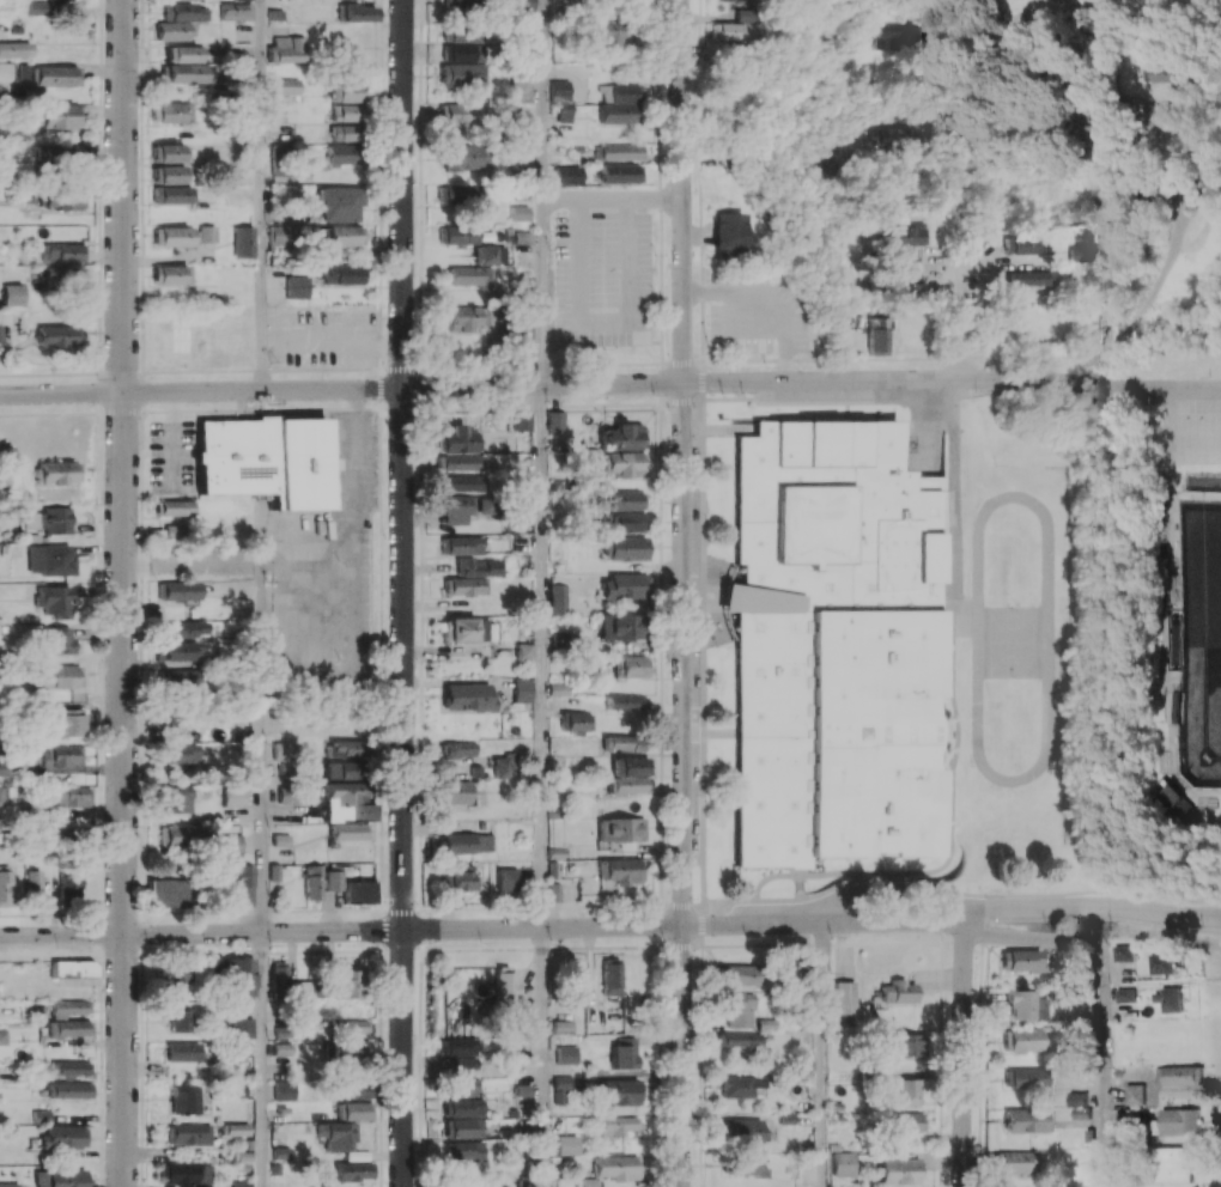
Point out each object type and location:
building: (183, 0)
building: (243, 0)
building: (743, 0)
building: (460, 1)
building: (47, 5)
building: (516, 5)
building: (236, 11)
building: (183, 12)
building: (358, 12)
road: (1053, 14)
building: (175, 30)
building: (729, 31)
building: (462, 35)
building: (610, 36)
building: (901, 36)
building: (14, 49)
building: (287, 49)
building: (462, 53)
building: (186, 54)
road: (824, 66)
building: (186, 73)
building: (462, 74)
building: (1166, 74)
building: (56, 75)
building: (288, 85)
building: (520, 89)
building: (558, 91)
building: (346, 92)
building: (618, 102)
building: (171, 112)
building: (347, 112)
building: (462, 114)
building: (61, 115)
building: (1164, 117)
building: (345, 132)
building: (1086, 132)
building: (620, 151)
building: (166, 153)
building: (59, 154)
building: (342, 156)
building: (467, 157)
building: (842, 157)
building: (169, 174)
building: (567, 174)
building: (620, 174)
road: (545, 191)
road: (402, 193)
building: (172, 194)
building: (461, 194)
road: (265, 195)
building: (62, 196)
road: (613, 196)
building: (341, 203)
building: (207, 233)
building: (729, 233)
building: (279, 235)
building: (458, 235)
building: (171, 236)
building: (346, 236)
building: (910, 236)
building: (243, 242)
building: (1019, 243)
building: (62, 252)
building: (491, 254)
road: (1110, 256)
building: (170, 274)
building: (344, 274)
building: (474, 276)
building: (63, 278)
building: (1025, 278)
building: (298, 286)
building: (11, 293)
road: (1149, 297)
building: (467, 317)
road: (964, 319)
road: (601, 321)
building: (56, 335)
building: (876, 336)
road: (333, 343)
road: (610, 383)
building: (522, 420)
building: (555, 421)
parking lot: (1185, 430)
building: (621, 437)
building: (457, 439)
building: (265, 459)
building: (461, 462)
building: (624, 463)
building: (56, 471)
building: (464, 482)
building: (624, 500)
building: (176, 507)
building: (462, 507)
building: (49, 521)
building: (627, 522)
building: (172, 531)
building: (462, 544)
building: (624, 548)
building: (55, 559)
road: (247, 565)
building: (479, 566)
building: (622, 585)
building: (463, 586)
building: (177, 590)
road: (123, 593)
road: (682, 593)
building: (559, 598)
building: (53, 599)
building: (619, 627)
building: (182, 628)
building: (466, 629)
park: (1197, 638)
building: (56, 639)
park: (1012, 643)
park: (1154, 647)
building: (836, 649)
building: (178, 650)
building: (524, 651)
road: (543, 656)
building: (630, 665)
building: (59, 676)
building: (182, 677)
building: (523, 689)
building: (468, 696)
building: (626, 704)
building: (168, 716)
building: (577, 722)
building: (63, 723)
building: (622, 742)
building: (347, 748)
building: (457, 749)
building: (181, 753)
building: (286, 753)
building: (60, 755)
building: (504, 766)
building: (346, 769)
building: (627, 774)
road: (402, 787)
building: (456, 791)
building: (288, 793)
building: (4, 795)
building: (68, 796)
building: (233, 796)
building: (175, 798)
building: (348, 801)
building: (1171, 801)
road: (265, 804)
building: (620, 829)
building: (348, 830)
building: (181, 835)
building: (280, 839)
building: (231, 842)
building: (467, 842)
building: (620, 870)
building: (458, 878)
building: (506, 878)
building: (333, 879)
building: (314, 882)
building: (69, 883)
building: (243, 884)
building: (6, 885)
building: (34, 887)
building: (169, 891)
building: (358, 891)
road: (612, 926)
building: (1126, 952)
building: (1019, 960)
building: (1164, 963)
building: (73, 968)
building: (740, 974)
building: (278, 976)
building: (609, 976)
building: (241, 978)
building: (180, 979)
building: (576, 984)
building: (336, 985)
building: (505, 987)
building: (898, 991)
building: (1126, 994)
road: (1104, 996)
building: (844, 997)
building: (1170, 999)
building: (1023, 1004)
building: (69, 1008)
building: (740, 1010)
building: (180, 1018)
building: (523, 1019)
building: (353, 1025)
building: (242, 1027)
building: (68, 1028)
building: (2, 1036)
building: (740, 1039)
building: (1022, 1040)
building: (904, 1045)
building: (458, 1046)
building: (354, 1049)
building: (183, 1051)
building: (622, 1052)
building: (565, 1054)
road: (827, 1054)
road: (962, 1054)
road: (543, 1057)
road: (266, 1059)
building: (461, 1064)
building: (69, 1067)
building: (1181, 1075)
building: (1026, 1079)
building: (741, 1085)
building: (463, 1086)
building: (68, 1090)
building: (284, 1090)
building: (353, 1090)
building: (559, 1090)
building: (619, 1091)
building: (1135, 1094)
building: (522, 1095)
building: (184, 1098)
building: (463, 1107)
building: (357, 1110)
building: (41, 1115)
building: (1027, 1120)
building: (905, 1121)
building: (1178, 1121)
building: (462, 1127)
building: (618, 1127)
building: (235, 1128)
building: (745, 1130)
building: (189, 1133)
building: (62, 1136)
building: (338, 1137)
building: (566, 1144)
building: (462, 1150)
building: (280, 1161)
building: (1015, 1162)
building: (843, 1163)
building: (1176, 1164)
building: (743, 1165)
building: (618, 1167)
building: (353, 1170)
building: (898, 1170)
building: (182, 1173)
building: (65, 1177)
building: (589, 1182)
building: (242, 1183)
building: (8, 1185)

